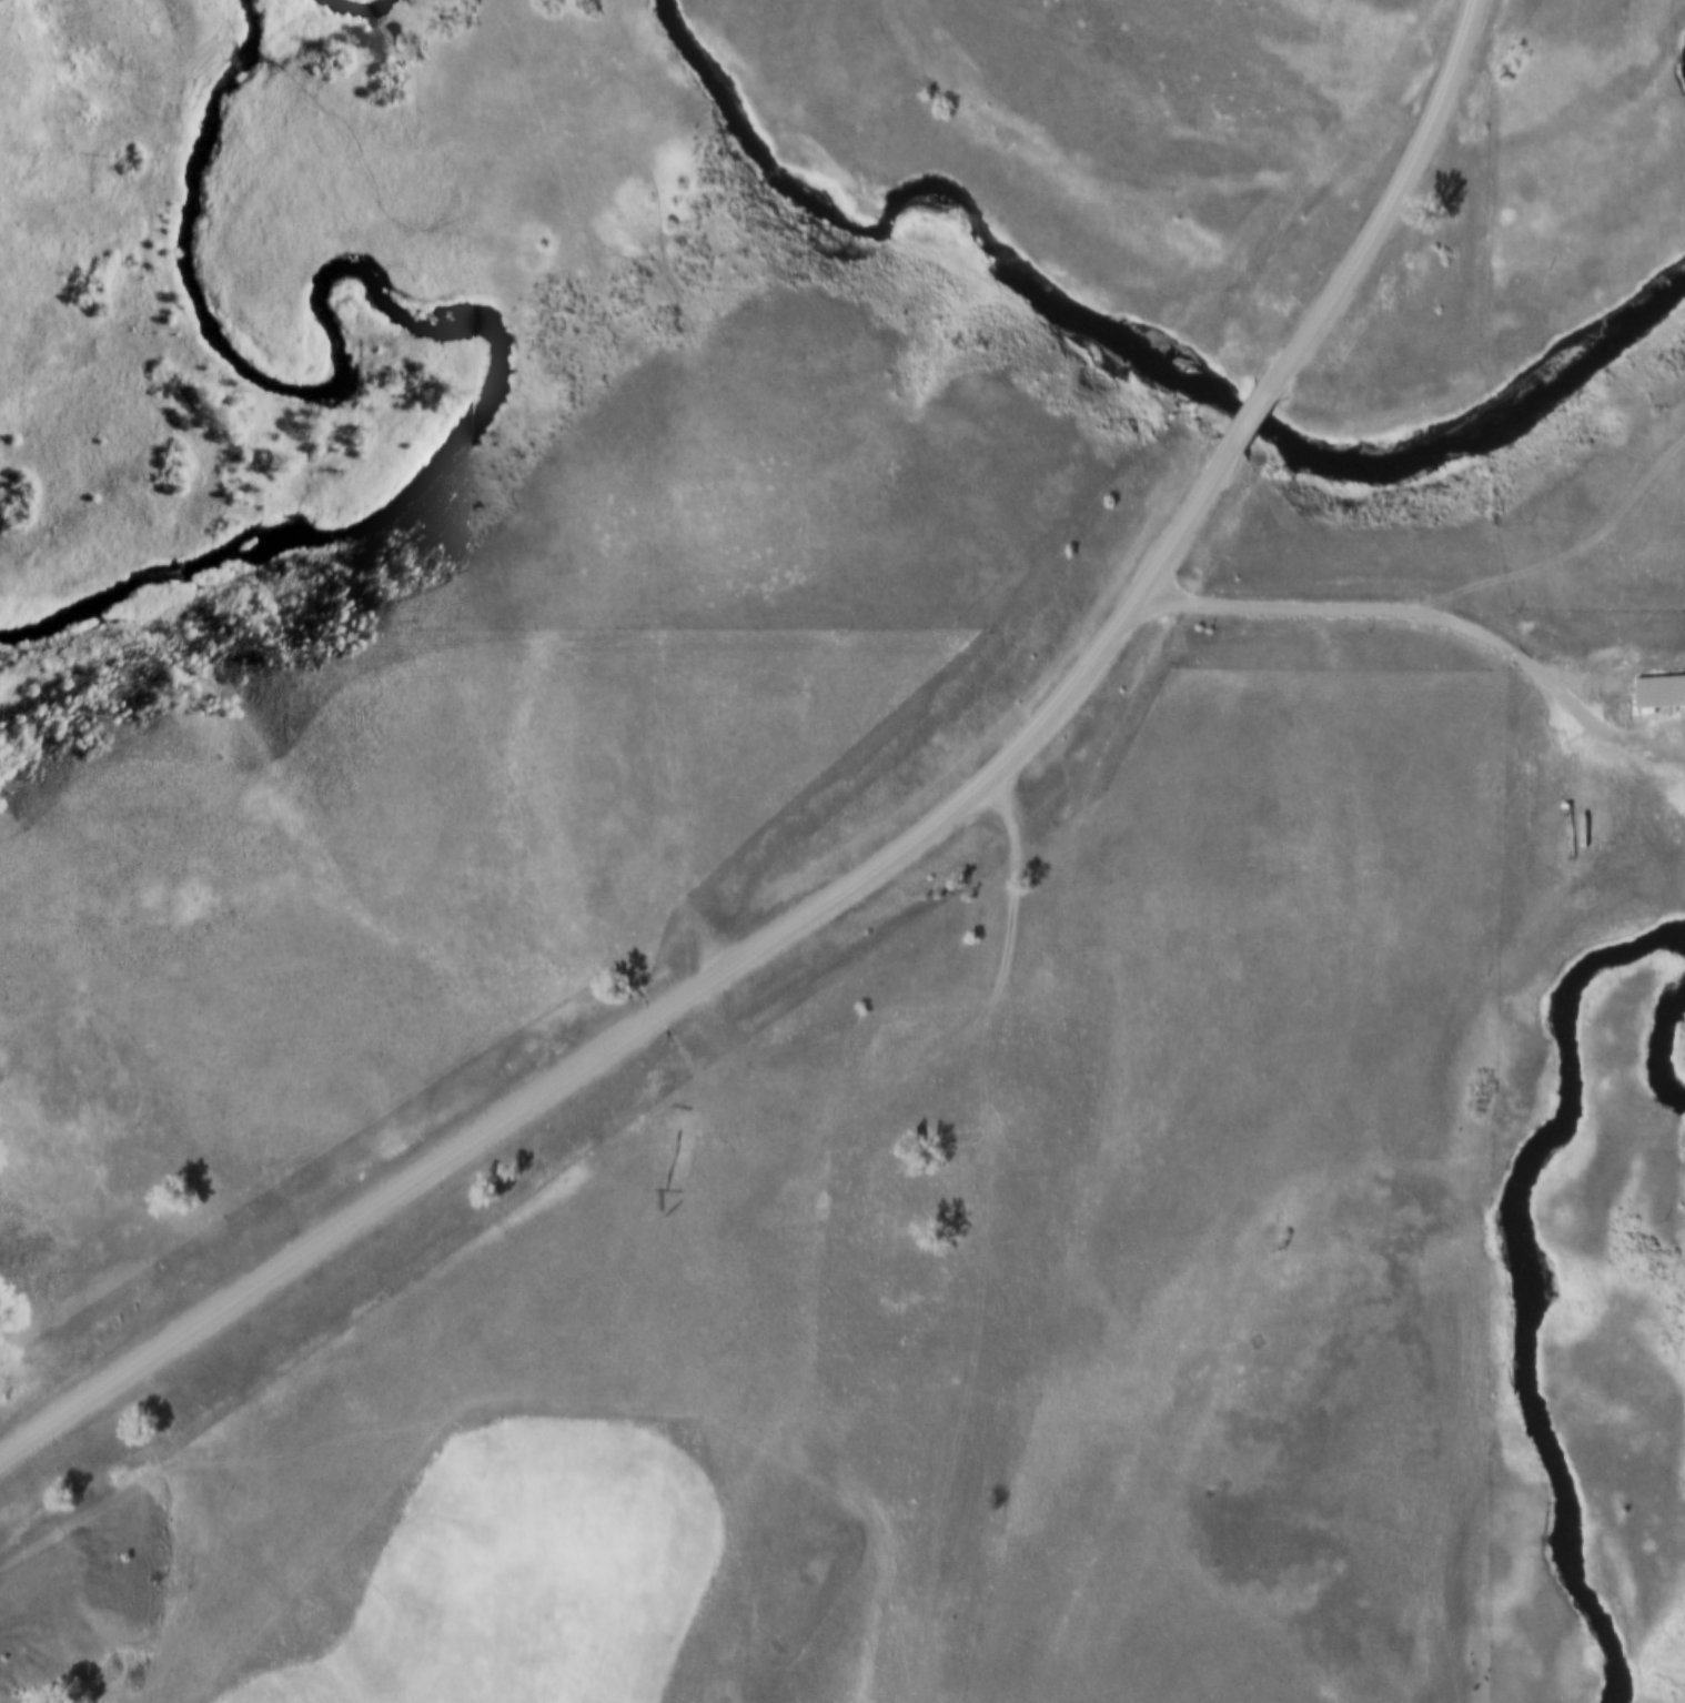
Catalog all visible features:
road: (1386, 206)
road: (1250, 424)
road: (1189, 516)
road: (1575, 563)
road: (1429, 615)
building: (1658, 686)
road: (602, 1051)

